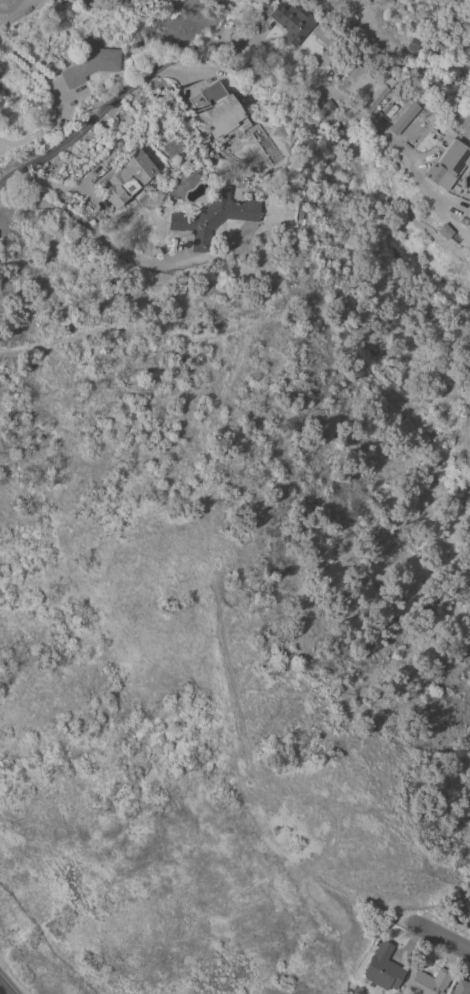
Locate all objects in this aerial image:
building: (100, 3)
road: (10, 9)
building: (291, 24)
road: (245, 43)
building: (91, 64)
building: (377, 95)
road: (60, 97)
building: (216, 109)
building: (402, 118)
building: (183, 122)
building: (169, 148)
building: (448, 164)
building: (128, 178)
road: (67, 187)
building: (150, 192)
building: (213, 217)
road: (93, 232)
road: (460, 285)
road: (273, 320)
road: (448, 940)
building: (383, 968)
building: (427, 982)
building: (460, 987)
road: (3, 990)

